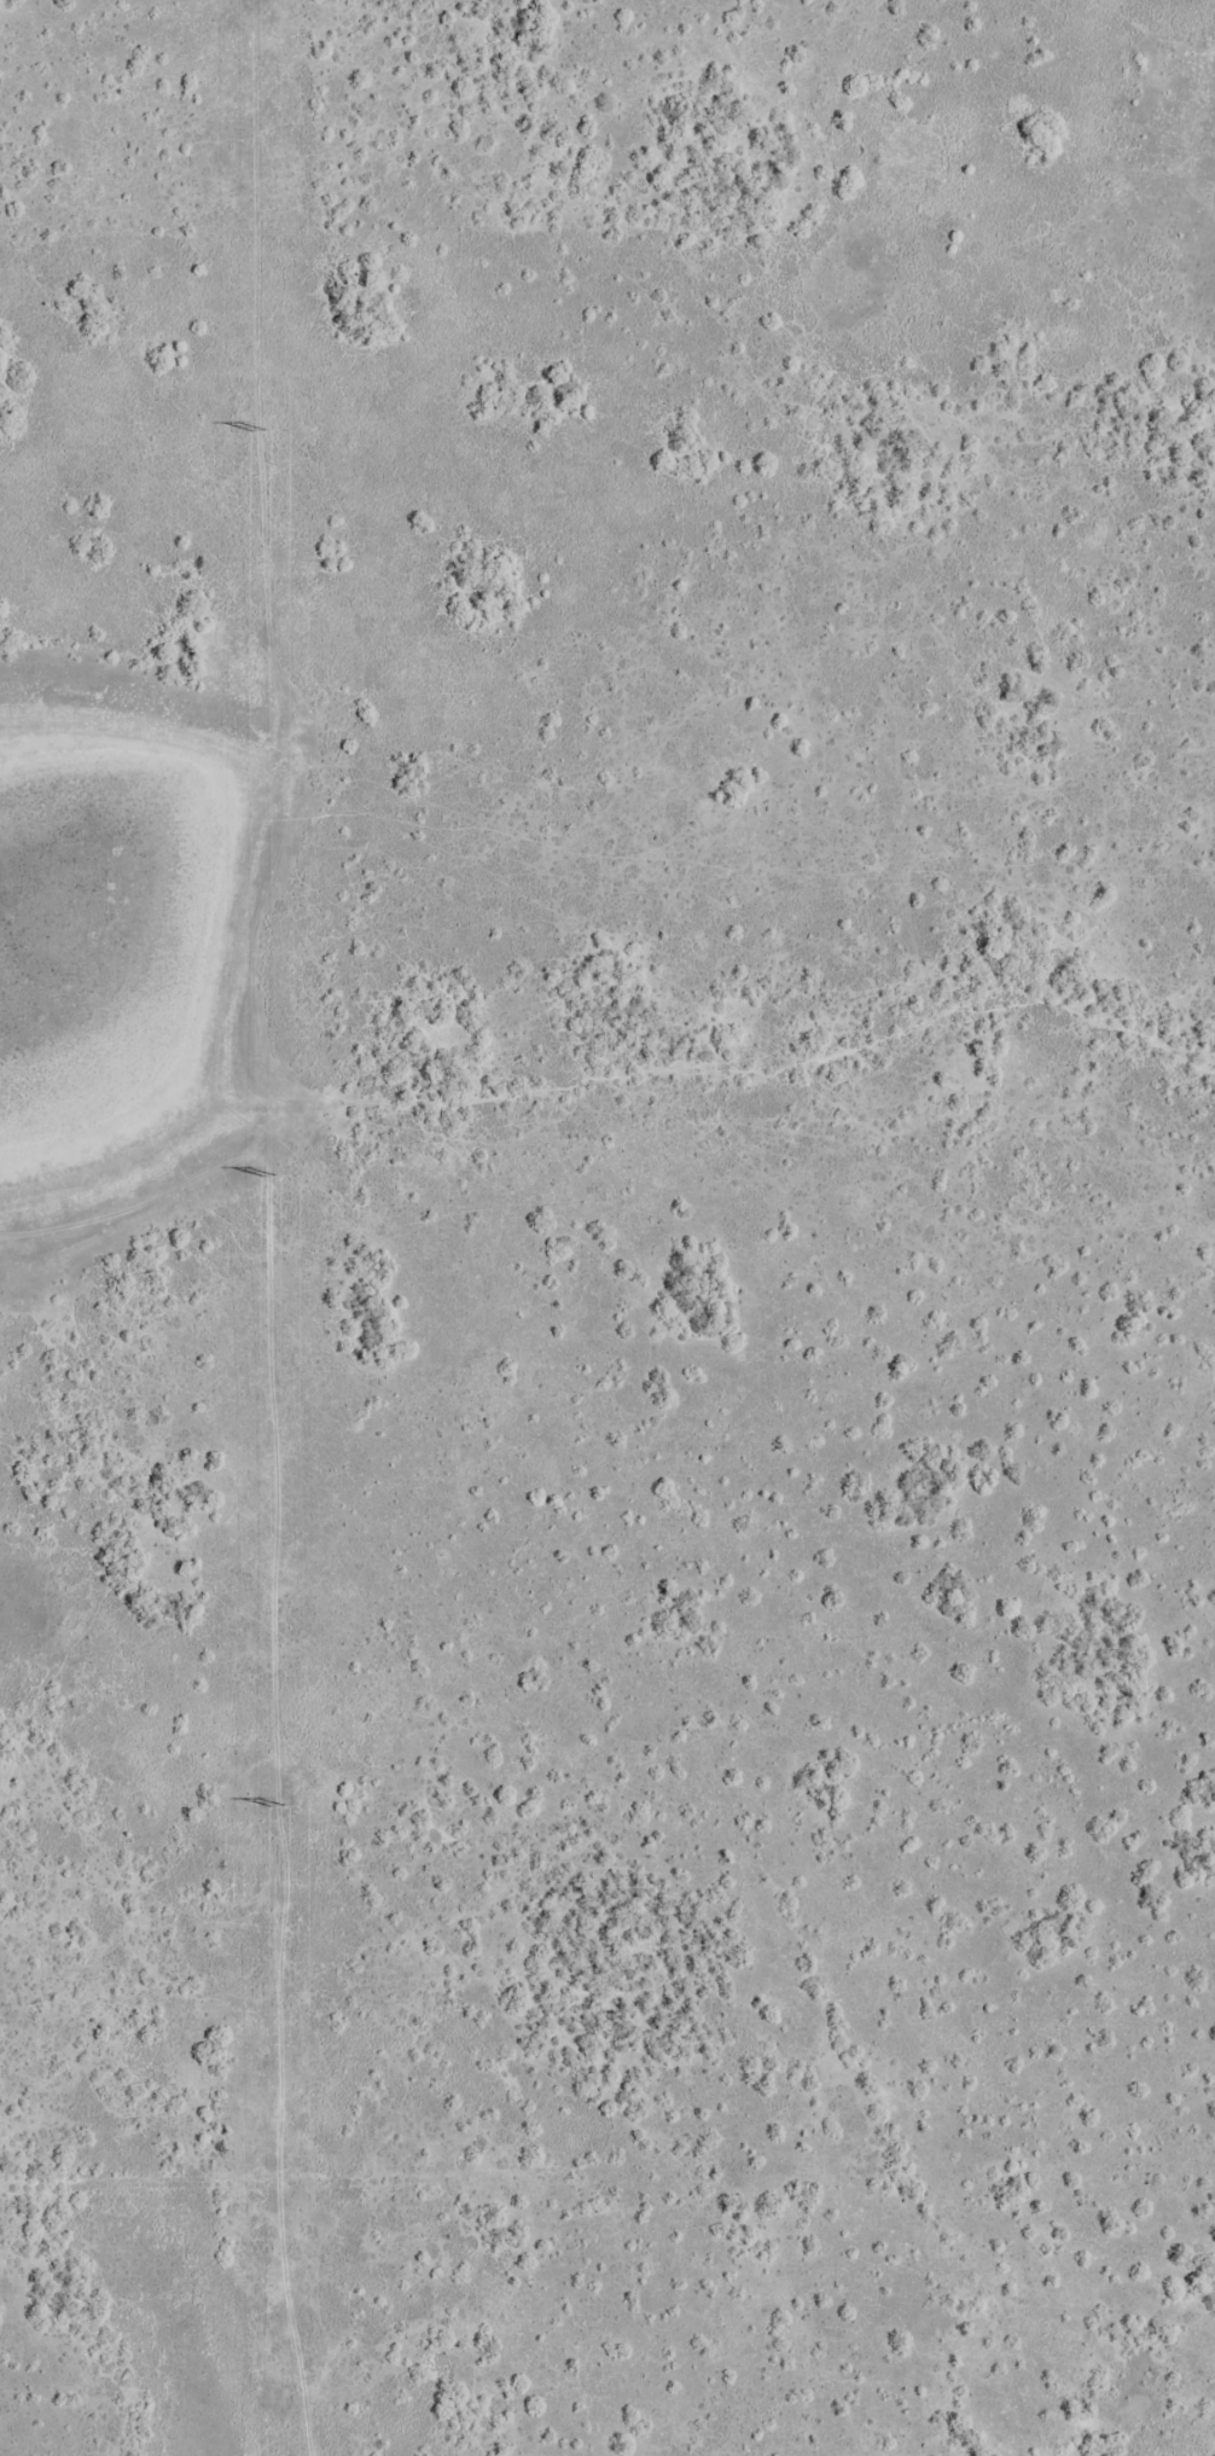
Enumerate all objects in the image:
power tower: (261, 430)
power tower: (269, 1172)
power tower: (279, 1806)

